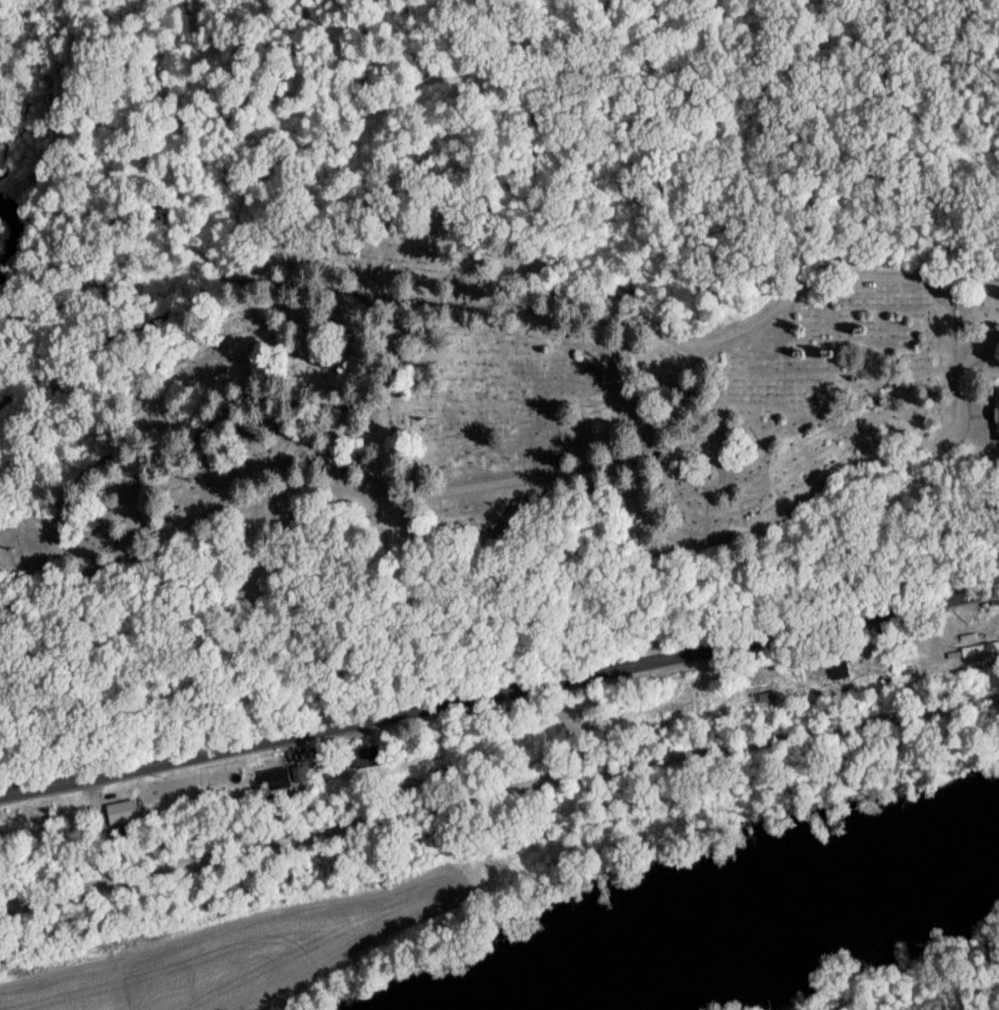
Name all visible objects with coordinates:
river: (15, 239)
road: (971, 279)
road: (333, 311)
building: (996, 418)
park: (462, 462)
road: (554, 475)
road: (807, 507)
building: (978, 654)
building: (833, 666)
road: (499, 696)
building: (362, 762)
building: (273, 784)
road: (499, 811)
building: (118, 817)
building: (13, 834)
river: (746, 910)

